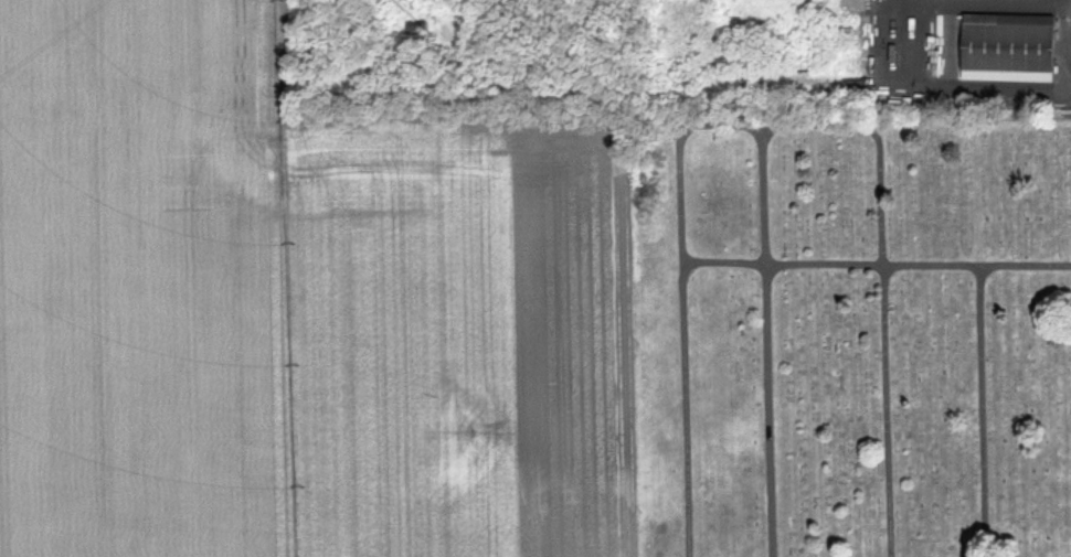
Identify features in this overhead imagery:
building: (421, 26)
building: (1011, 47)
road: (964, 89)
building: (650, 129)
road: (878, 267)
crop: (145, 282)
road: (887, 286)
road: (686, 299)
park: (852, 336)
road: (770, 350)
road: (987, 413)

